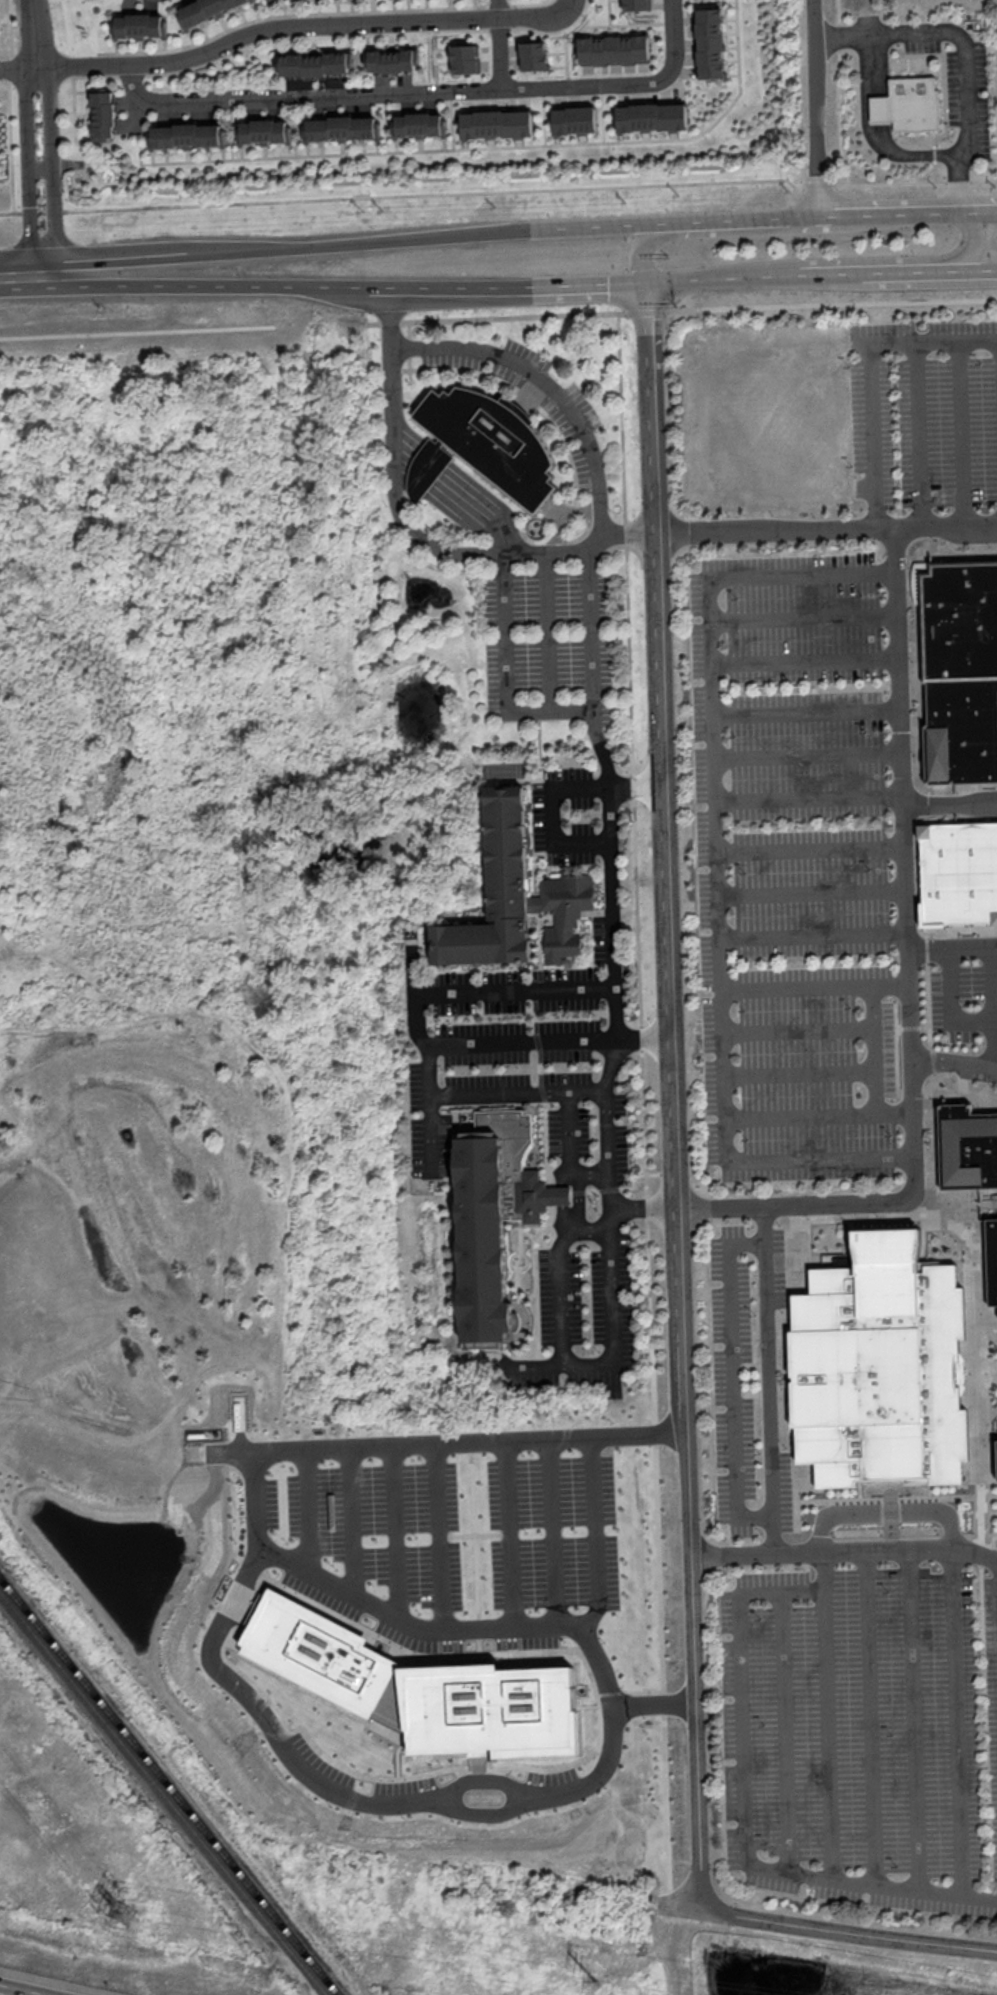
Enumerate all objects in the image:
building: (635, 5)
building: (205, 10)
building: (141, 25)
road: (307, 26)
road: (850, 32)
road: (40, 33)
building: (710, 43)
road: (500, 44)
building: (613, 49)
building: (533, 56)
road: (871, 56)
building: (465, 59)
building: (393, 61)
building: (316, 64)
road: (21, 66)
road: (739, 81)
road: (423, 90)
road: (944, 90)
road: (840, 91)
building: (907, 105)
road: (817, 107)
road: (942, 109)
building: (104, 114)
building: (652, 116)
building: (574, 120)
building: (420, 124)
building: (496, 124)
building: (343, 128)
building: (265, 131)
building: (187, 135)
road: (10, 139)
road: (140, 147)
road: (414, 150)
road: (27, 168)
road: (41, 168)
road: (55, 169)
road: (962, 178)
road: (500, 190)
road: (917, 210)
road: (752, 218)
road: (609, 225)
road: (370, 240)
road: (976, 241)
road: (645, 251)
road: (132, 255)
road: (975, 271)
road: (906, 275)
road: (42, 276)
road: (829, 278)
road: (724, 283)
road: (235, 285)
traffic signals: (649, 286)
road: (601, 289)
road: (471, 290)
road: (682, 308)
road: (137, 331)
road: (869, 371)
road: (544, 383)
parking lot: (923, 415)
road: (962, 433)
road: (917, 434)
building: (491, 438)
road: (457, 491)
road: (827, 529)
road: (418, 532)
road: (801, 615)
road: (548, 631)
parking lot: (545, 637)
road: (803, 661)
building: (961, 673)
road: (552, 711)
road: (804, 713)
road: (806, 754)
road: (607, 774)
road: (807, 798)
road: (949, 803)
parking lot: (568, 815)
road: (550, 816)
road: (808, 849)
parking lot: (791, 865)
road: (715, 867)
building: (961, 875)
road: (810, 892)
building: (513, 896)
road: (811, 936)
road: (613, 938)
road: (951, 945)
road: (906, 978)
road: (812, 985)
road: (425, 991)
road: (949, 1004)
road: (991, 1007)
road: (796, 1028)
road: (522, 1041)
road: (874, 1049)
road: (953, 1061)
road: (610, 1063)
road: (798, 1072)
road: (576, 1088)
road: (674, 1095)
road: (928, 1107)
road: (642, 1108)
road: (817, 1116)
road: (570, 1149)
parking lot: (588, 1159)
building: (972, 1167)
road: (577, 1202)
road: (644, 1209)
building: (495, 1214)
road: (560, 1276)
road: (786, 1298)
road: (612, 1338)
building: (880, 1365)
road: (732, 1378)
road: (769, 1381)
parking lot: (733, 1384)
road: (978, 1428)
road: (988, 1428)
building: (996, 1458)
road: (885, 1513)
road: (794, 1516)
road: (578, 1529)
road: (843, 1553)
building: (420, 1687)
road: (646, 1699)
road: (869, 1717)
road: (912, 1720)
road: (957, 1722)
road: (784, 1731)
road: (827, 1733)
parking lot: (860, 1736)
road: (290, 1762)
railway: (169, 1785)
railway: (163, 1792)
road: (743, 1793)
road: (679, 1904)
power tower: (122, 1915)
road: (847, 1932)
power tower: (594, 1982)
road: (12, 1992)

